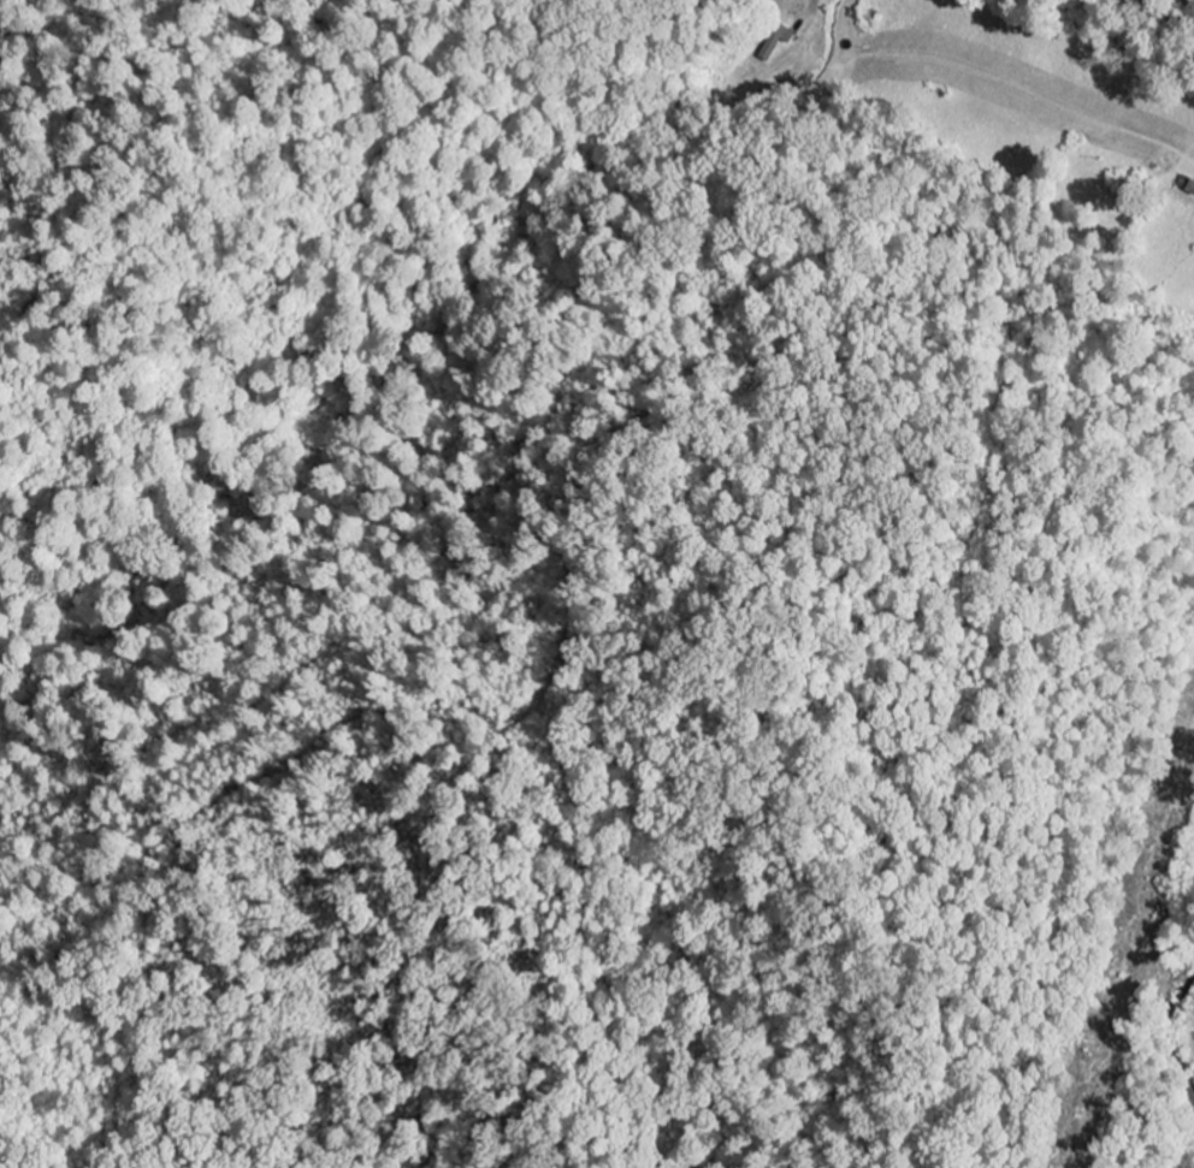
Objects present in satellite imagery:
road: (1168, 10)
building: (778, 41)

